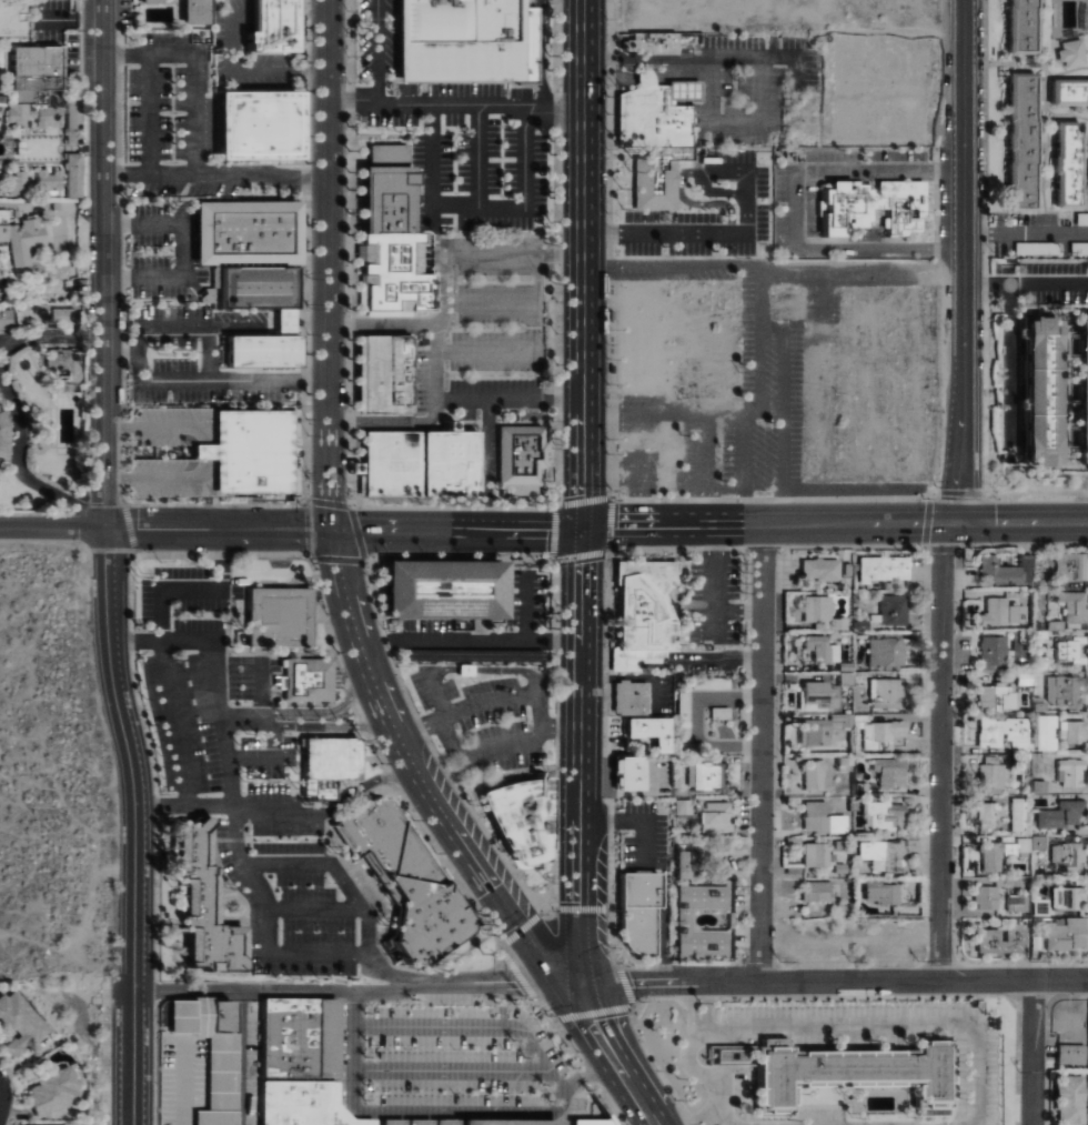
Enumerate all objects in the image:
building: (189, 10)
building: (13, 18)
building: (268, 27)
building: (1019, 27)
building: (464, 39)
building: (651, 42)
road: (376, 50)
road: (544, 51)
building: (1068, 52)
road: (767, 61)
building: (40, 70)
road: (682, 73)
road: (642, 78)
road: (608, 79)
building: (1067, 92)
road: (455, 101)
road: (194, 111)
building: (654, 111)
road: (147, 112)
building: (20, 113)
building: (0, 117)
building: (256, 125)
building: (75, 128)
building: (1019, 141)
road: (476, 152)
building: (1065, 164)
road: (260, 173)
building: (75, 174)
building: (656, 178)
building: (51, 179)
building: (20, 181)
building: (0, 189)
building: (384, 190)
road: (477, 204)
building: (870, 208)
road: (70, 209)
road: (794, 209)
road: (697, 231)
building: (245, 232)
road: (1026, 233)
building: (23, 237)
road: (182, 249)
road: (560, 250)
road: (105, 263)
road: (964, 263)
road: (326, 264)
road: (582, 264)
building: (394, 273)
road: (1026, 283)
building: (255, 288)
road: (514, 299)
building: (50, 312)
building: (7, 320)
road: (381, 323)
building: (671, 335)
road: (141, 351)
building: (261, 351)
road: (484, 352)
road: (122, 353)
building: (61, 359)
building: (382, 374)
building: (1048, 393)
building: (1086, 394)
road: (507, 399)
road: (13, 406)
road: (389, 422)
building: (4, 441)
building: (243, 451)
building: (518, 459)
building: (416, 462)
road: (486, 463)
road: (834, 525)
traffic signals: (949, 525)
road: (51, 528)
road: (218, 529)
road: (456, 529)
traffic signals: (581, 529)
traffic signals: (333, 530)
building: (817, 569)
building: (882, 571)
road: (198, 589)
building: (442, 589)
building: (1072, 605)
building: (890, 610)
building: (817, 611)
building: (993, 611)
building: (1015, 613)
building: (641, 614)
building: (276, 617)
road: (201, 636)
road: (356, 637)
road: (470, 640)
building: (819, 649)
building: (884, 650)
building: (1064, 650)
building: (991, 651)
road: (464, 669)
road: (505, 669)
building: (308, 680)
road: (429, 681)
building: (1060, 690)
building: (883, 692)
building: (814, 694)
building: (629, 697)
building: (995, 697)
road: (540, 706)
road: (323, 719)
road: (178, 721)
road: (420, 729)
building: (813, 731)
building: (646, 732)
building: (1045, 732)
building: (1070, 732)
building: (882, 733)
building: (1003, 733)
road: (450, 735)
road: (225, 740)
road: (520, 740)
road: (940, 752)
road: (760, 754)
road: (582, 756)
building: (326, 765)
building: (887, 771)
building: (989, 771)
building: (1069, 771)
building: (627, 773)
building: (810, 774)
road: (357, 788)
road: (426, 796)
road: (266, 805)
road: (213, 806)
building: (681, 806)
building: (886, 812)
building: (985, 814)
building: (1017, 814)
building: (1060, 814)
building: (712, 816)
building: (518, 817)
building: (819, 818)
road: (137, 824)
building: (1038, 842)
building: (999, 852)
building: (814, 853)
building: (1065, 856)
road: (248, 870)
building: (404, 880)
building: (814, 891)
building: (878, 892)
building: (984, 896)
building: (1067, 896)
building: (1016, 902)
building: (198, 903)
road: (545, 907)
road: (581, 908)
road: (313, 910)
building: (636, 912)
building: (682, 918)
road: (511, 923)
road: (517, 930)
building: (1062, 934)
road: (610, 935)
building: (999, 940)
road: (392, 974)
road: (514, 974)
road: (497, 982)
road: (830, 982)
traffic signals: (574, 984)
road: (625, 984)
road: (278, 991)
road: (502, 1003)
road: (542, 1007)
road: (592, 1014)
building: (19, 1019)
road: (889, 1021)
road: (476, 1023)
road: (697, 1028)
building: (203, 1047)
road: (1031, 1053)
building: (1069, 1054)
road: (611, 1056)
road: (240, 1057)
building: (315, 1069)
road: (707, 1072)
building: (839, 1072)
building: (50, 1089)
building: (1067, 1099)
road: (440, 1109)
road: (697, 1114)
road: (719, 1119)
building: (588, 1122)
building: (18, 1124)
building: (42, 1124)

